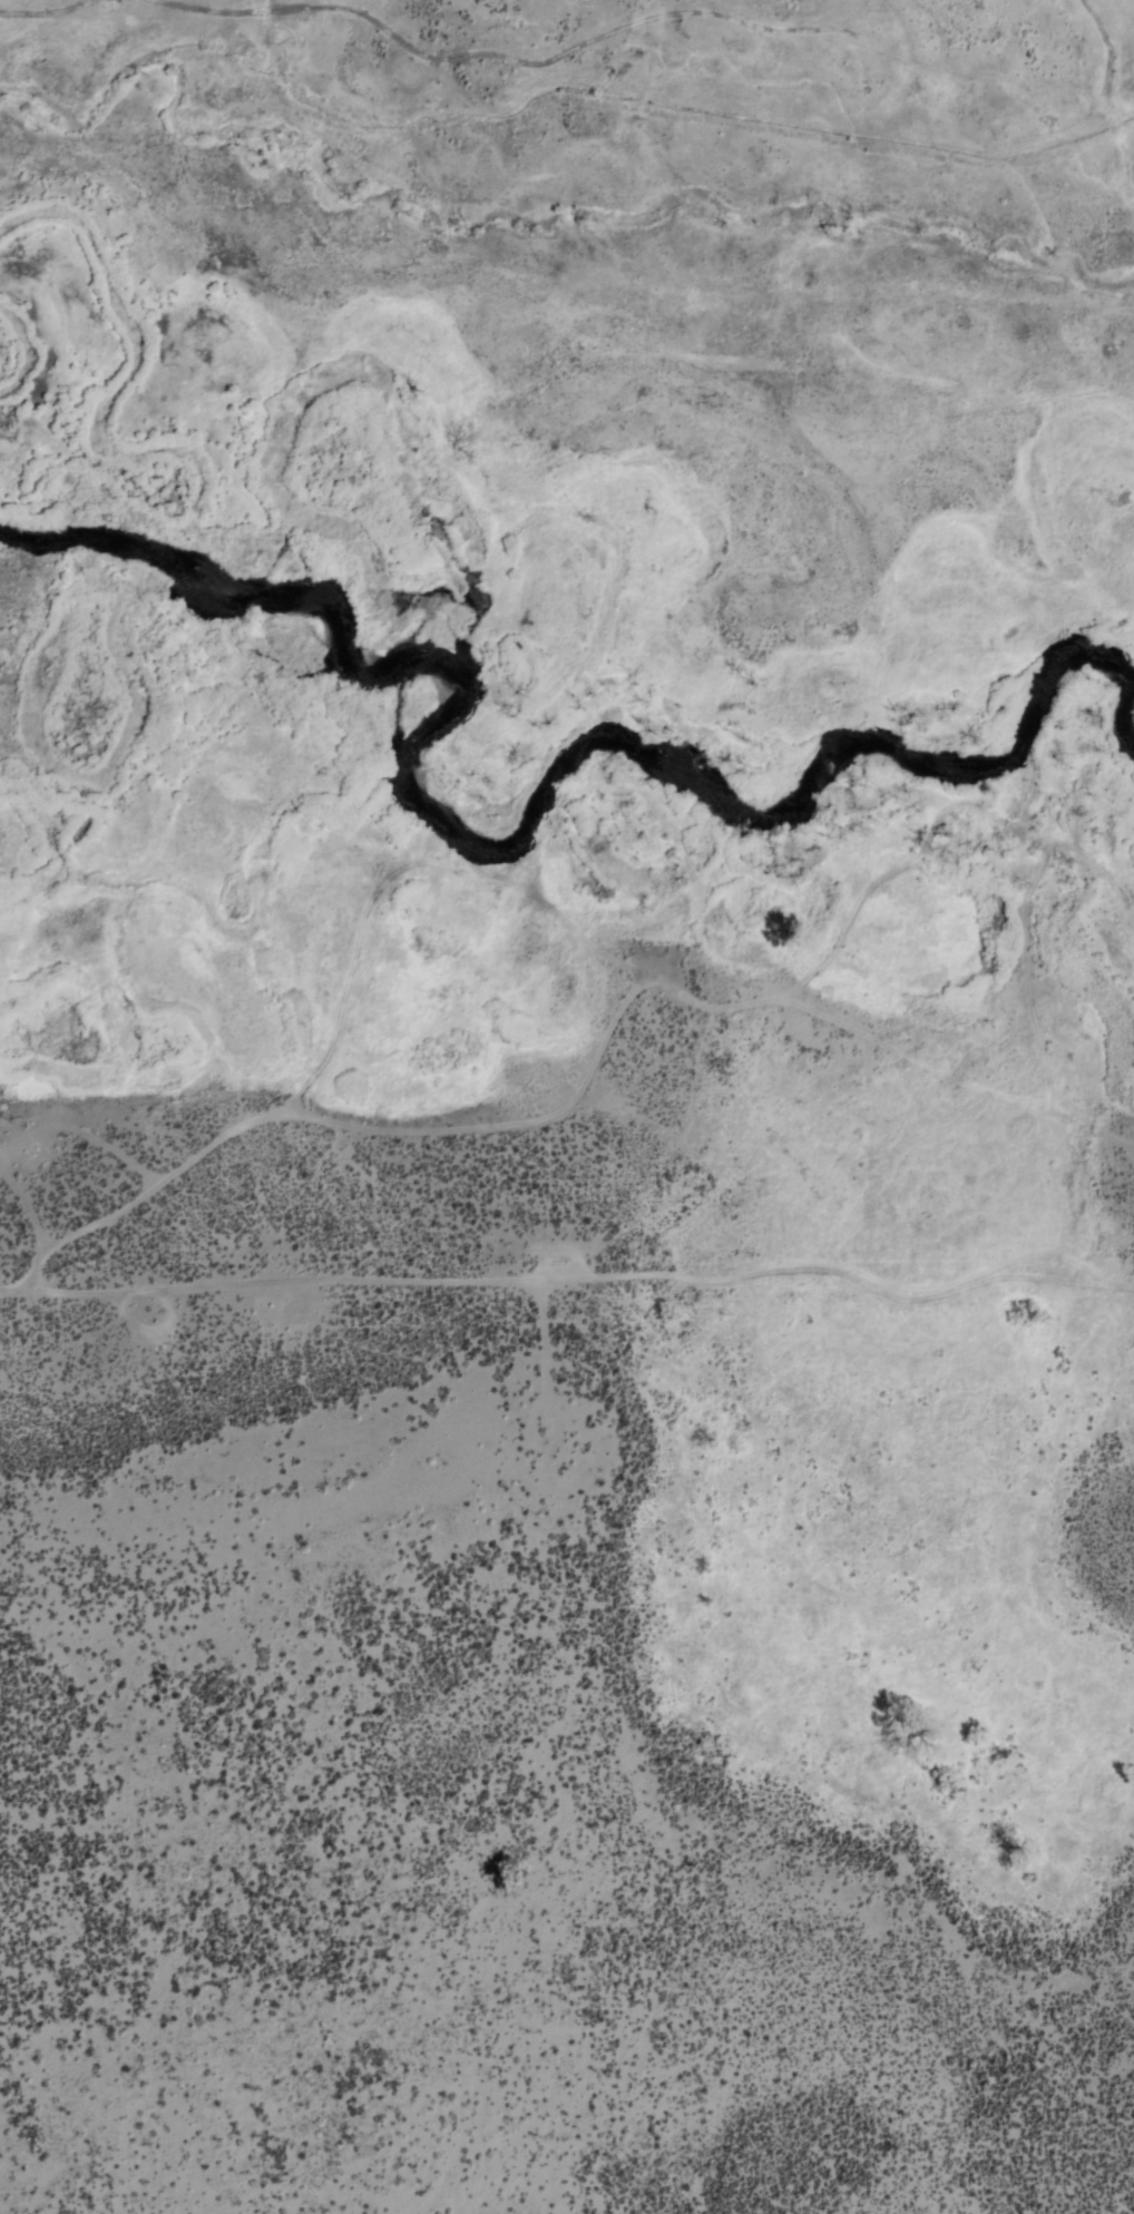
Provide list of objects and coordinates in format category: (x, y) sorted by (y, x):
river: (452, 564)
river: (68, 618)
road: (627, 959)
road: (691, 990)
road: (353, 992)
road: (159, 1184)
road: (570, 1276)

